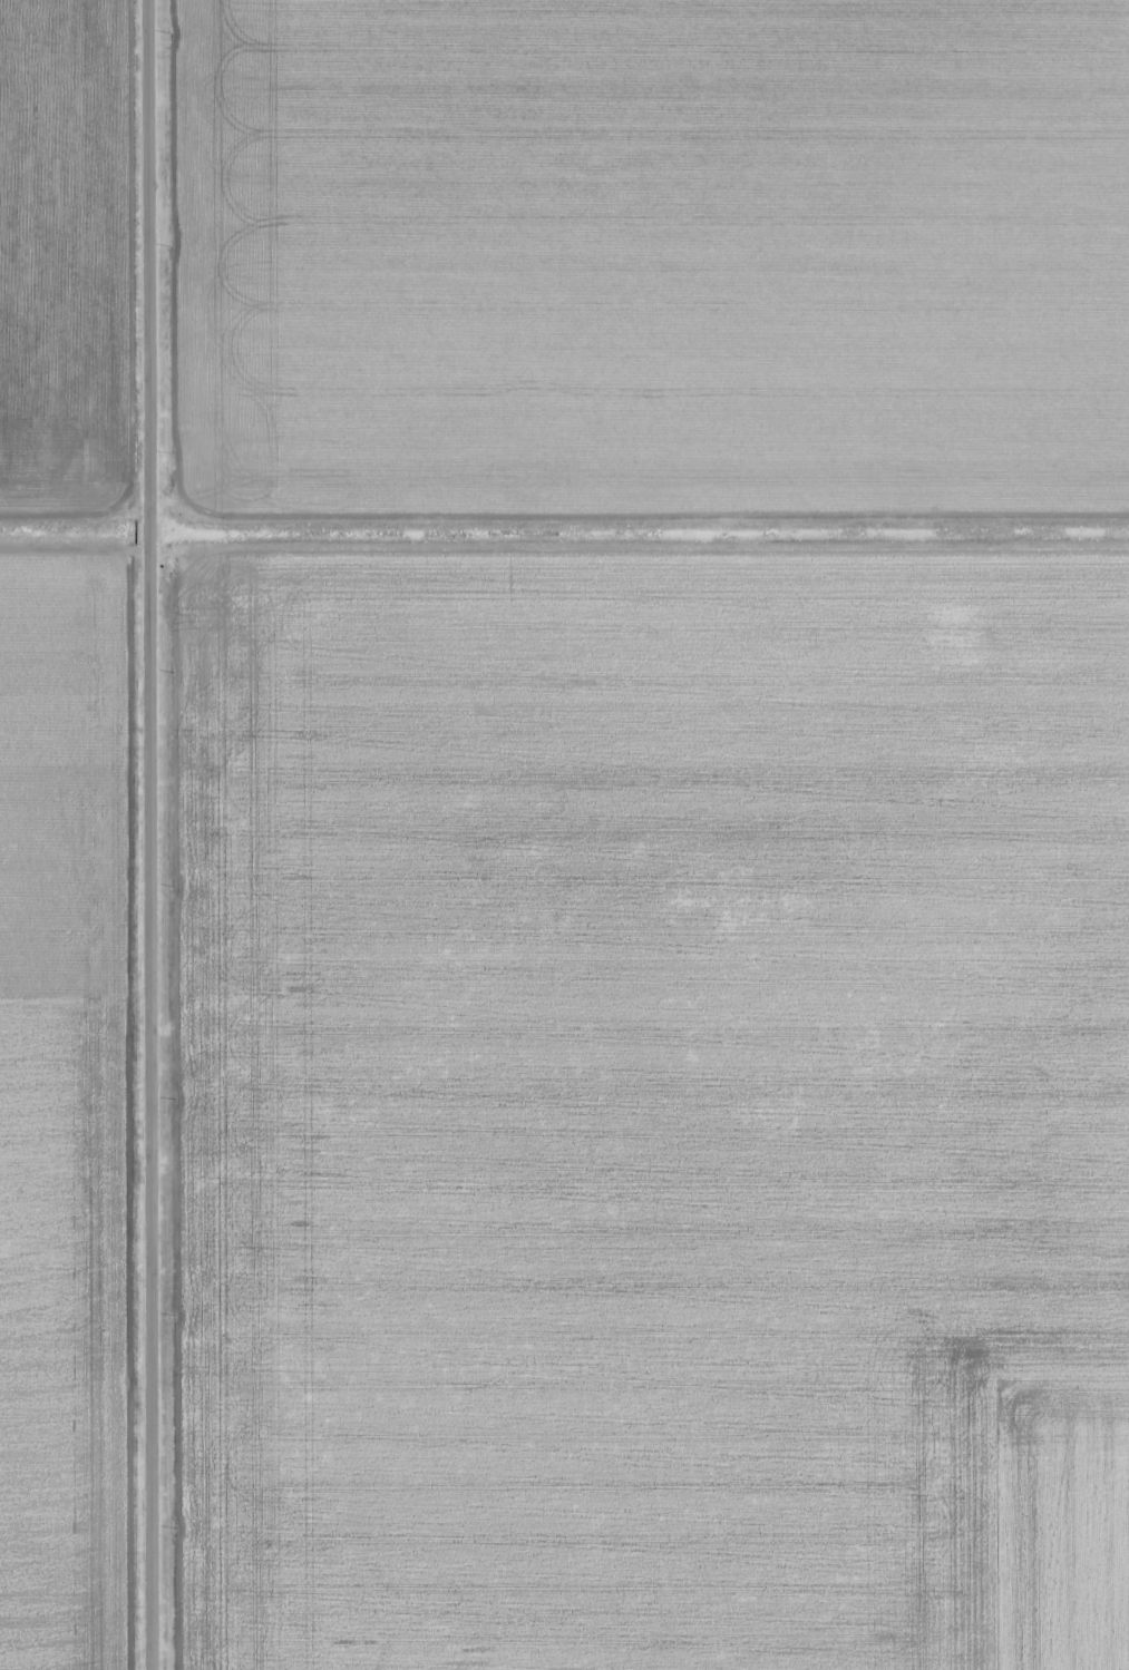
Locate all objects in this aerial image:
road: (148, 834)

